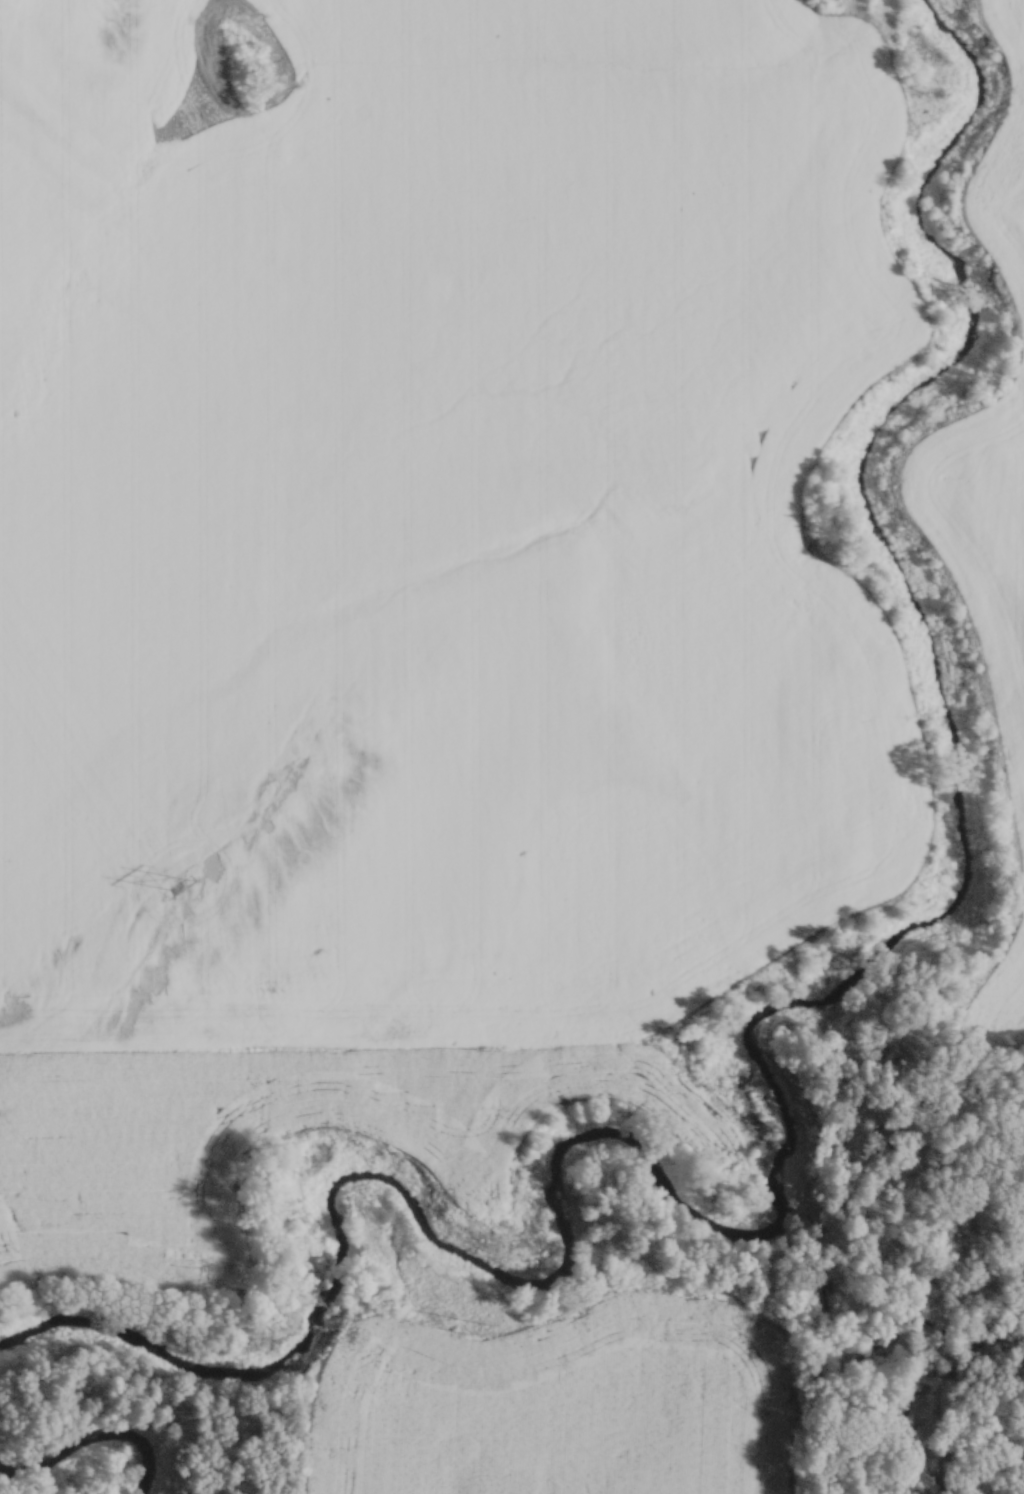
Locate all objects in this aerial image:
power tower: (183, 885)
power tower: (473, 1322)

